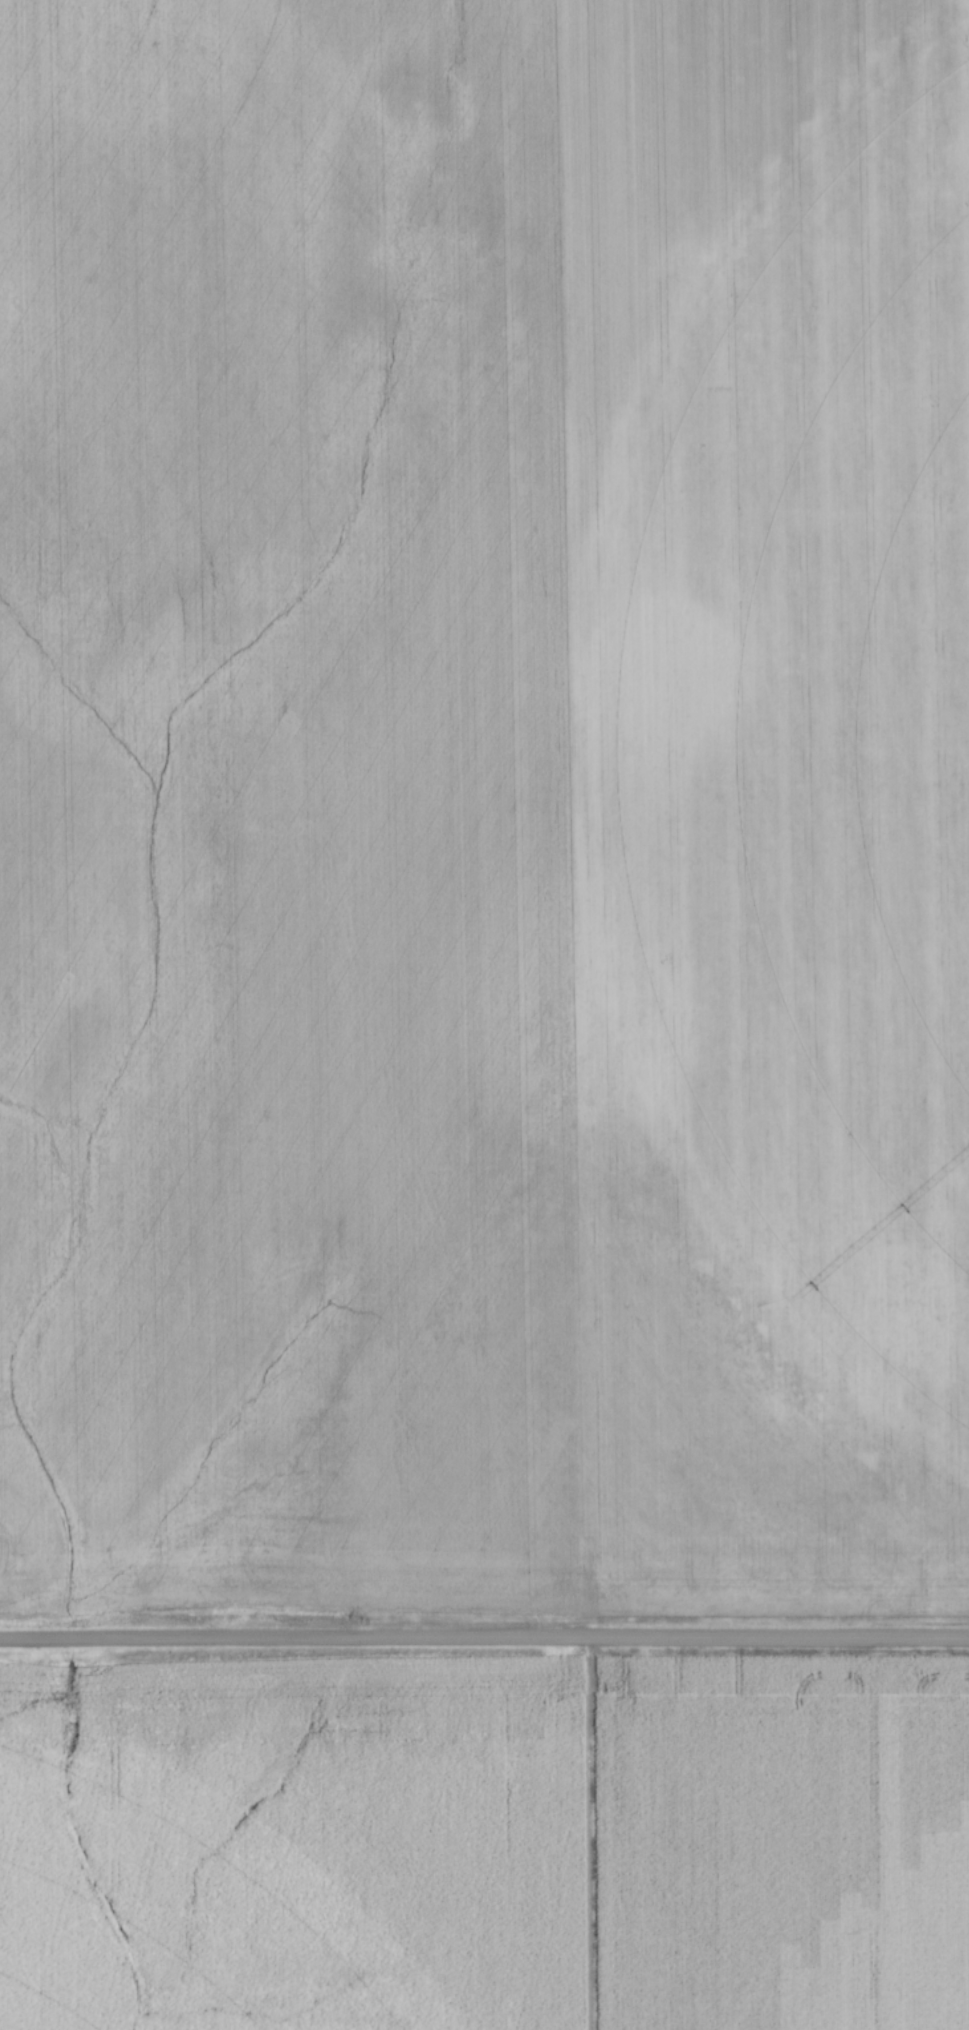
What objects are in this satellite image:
road: (484, 1640)

